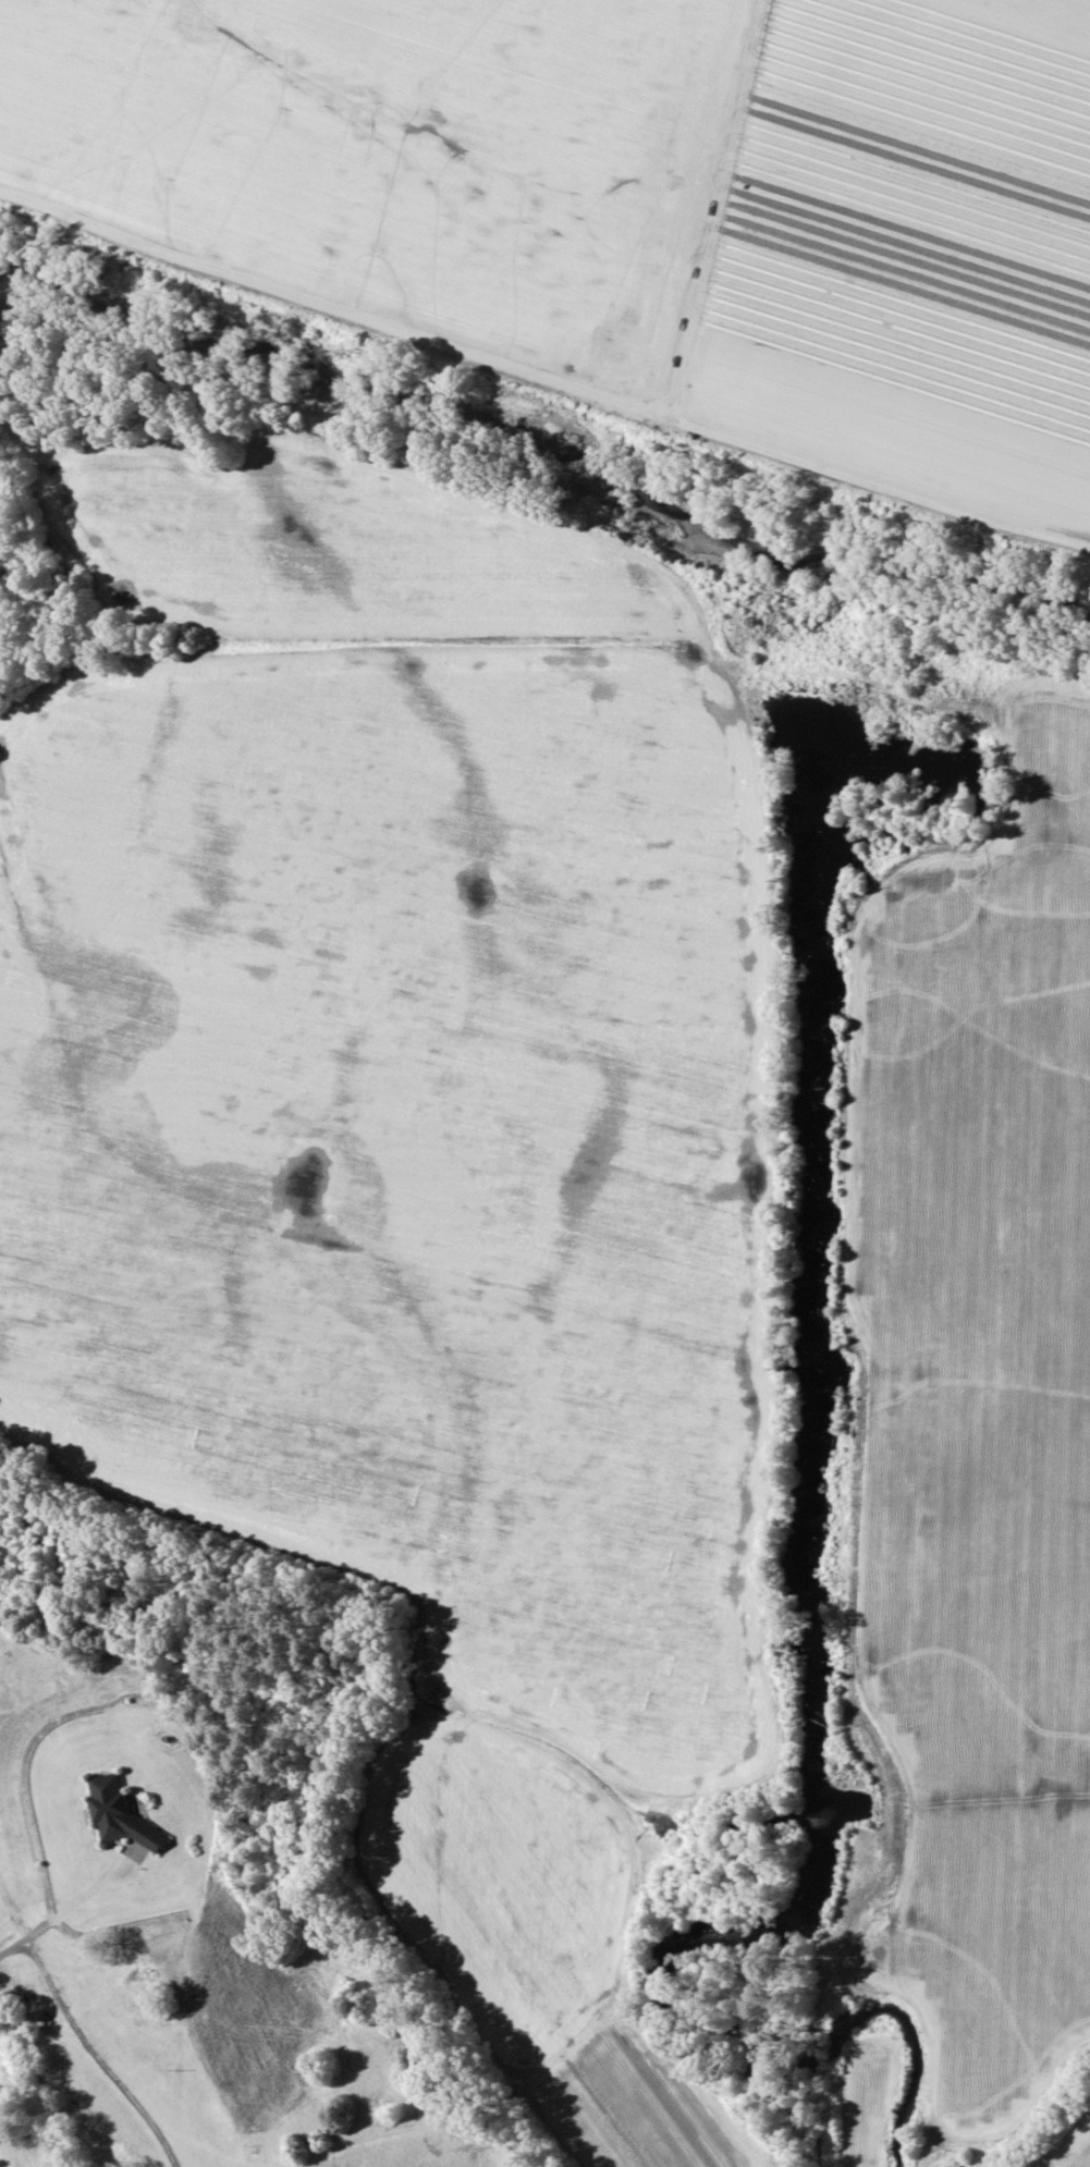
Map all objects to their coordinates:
building: (114, 1815)

